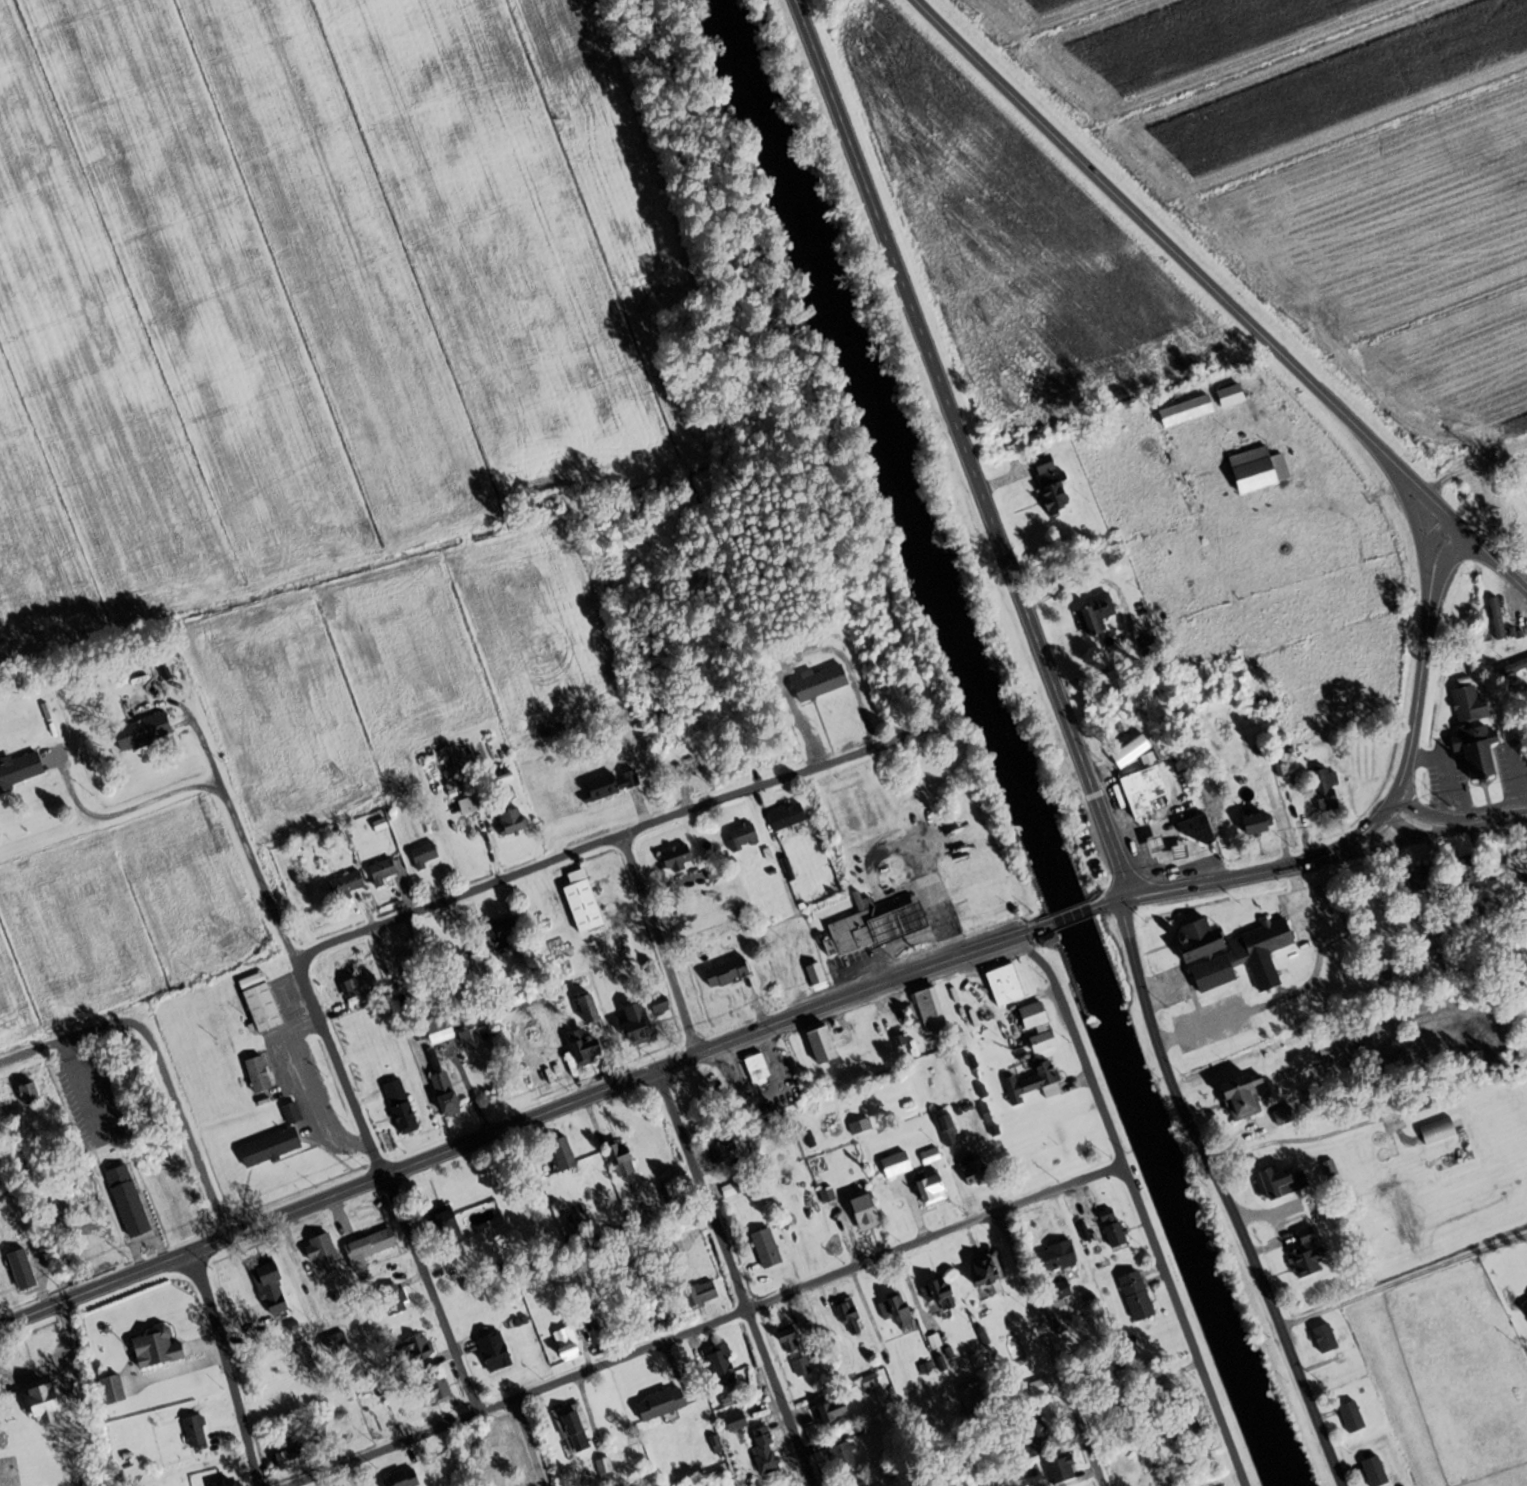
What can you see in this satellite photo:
road: (1188, 263)
building: (1231, 396)
building: (1186, 411)
road: (960, 447)
building: (1259, 470)
building: (1051, 485)
road: (1494, 558)
building: (1096, 615)
building: (1497, 617)
road: (1422, 663)
building: (1515, 666)
building: (821, 681)
building: (1474, 729)
building: (143, 731)
building: (20, 770)
building: (608, 785)
building: (1144, 789)
building: (1327, 789)
building: (478, 801)
road: (122, 810)
building: (788, 816)
building: (512, 820)
building: (1257, 822)
road: (1457, 823)
building: (1198, 828)
building: (743, 836)
road: (598, 845)
building: (424, 854)
building: (677, 857)
road: (1264, 870)
building: (383, 871)
building: (1465, 874)
building: (1428, 879)
building: (346, 884)
road: (1112, 899)
building: (583, 901)
road: (1075, 913)
building: (873, 926)
building: (504, 930)
building: (1200, 939)
building: (1448, 942)
road: (660, 945)
building: (1244, 953)
building: (560, 955)
building: (412, 968)
building: (727, 972)
building: (480, 973)
building: (817, 976)
road: (305, 979)
building: (1005, 985)
building: (354, 988)
road: (851, 993)
road: (1292, 994)
building: (260, 1002)
building: (661, 1005)
building: (589, 1008)
building: (930, 1008)
building: (636, 1026)
building: (1038, 1026)
building: (440, 1031)
building: (470, 1039)
building: (822, 1045)
building: (585, 1047)
building: (1336, 1047)
road: (154, 1063)
building: (757, 1068)
building: (258, 1074)
building: (1034, 1081)
building: (29, 1093)
building: (446, 1094)
building: (1242, 1098)
building: (401, 1107)
building: (291, 1112)
building: (1284, 1116)
building: (948, 1130)
building: (1438, 1131)
building: (1063, 1138)
building: (270, 1147)
building: (720, 1151)
building: (563, 1153)
building: (931, 1156)
building: (621, 1157)
building: (896, 1164)
road: (1130, 1169)
building: (975, 1170)
building: (1281, 1182)
building: (730, 1186)
building: (932, 1188)
road: (1219, 1194)
road: (329, 1197)
building: (128, 1201)
road: (1138, 1207)
building: (865, 1211)
building: (1317, 1211)
building: (446, 1225)
building: (1113, 1227)
building: (579, 1230)
building: (675, 1246)
building: (370, 1247)
building: (766, 1248)
building: (323, 1254)
building: (1308, 1255)
building: (1057, 1256)
building: (267, 1271)
building: (988, 1271)
building: (24, 1274)
road: (733, 1276)
road: (1404, 1282)
building: (1060, 1290)
road: (10, 1291)
building: (701, 1293)
building: (939, 1294)
building: (1137, 1295)
road: (429, 1296)
building: (394, 1297)
building: (1525, 1303)
building: (896, 1310)
building: (849, 1315)
road: (710, 1324)
building: (1325, 1338)
building: (789, 1340)
building: (567, 1344)
building: (158, 1347)
road: (1048, 1348)
building: (414, 1349)
building: (494, 1351)
building: (722, 1365)
road: (226, 1366)
building: (802, 1367)
building: (871, 1384)
building: (1041, 1386)
building: (112, 1389)
building: (973, 1397)
building: (44, 1403)
building: (661, 1403)
building: (831, 1411)
building: (1352, 1416)
building: (736, 1422)
building: (573, 1429)
building: (195, 1430)
building: (1034, 1436)
road: (526, 1444)
building: (765, 1448)
building: (843, 1455)
building: (289, 1459)
building: (604, 1468)
building: (1061, 1470)
building: (1375, 1471)
building: (402, 1479)
building: (234, 1484)
building: (873, 1485)

